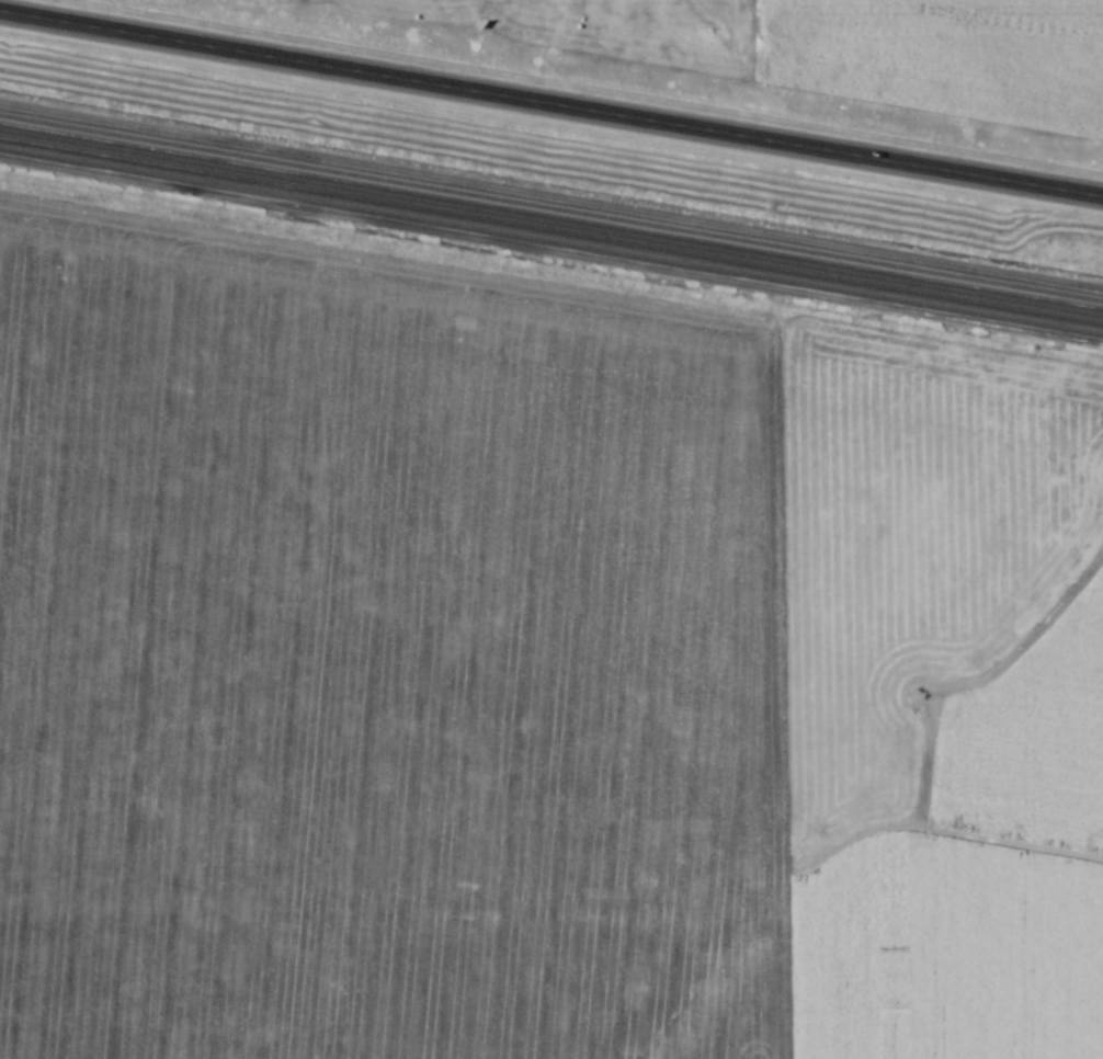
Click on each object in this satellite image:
crop: (947, 57)
road: (551, 103)
railway: (551, 207)
railway: (551, 223)
railway: (551, 237)

